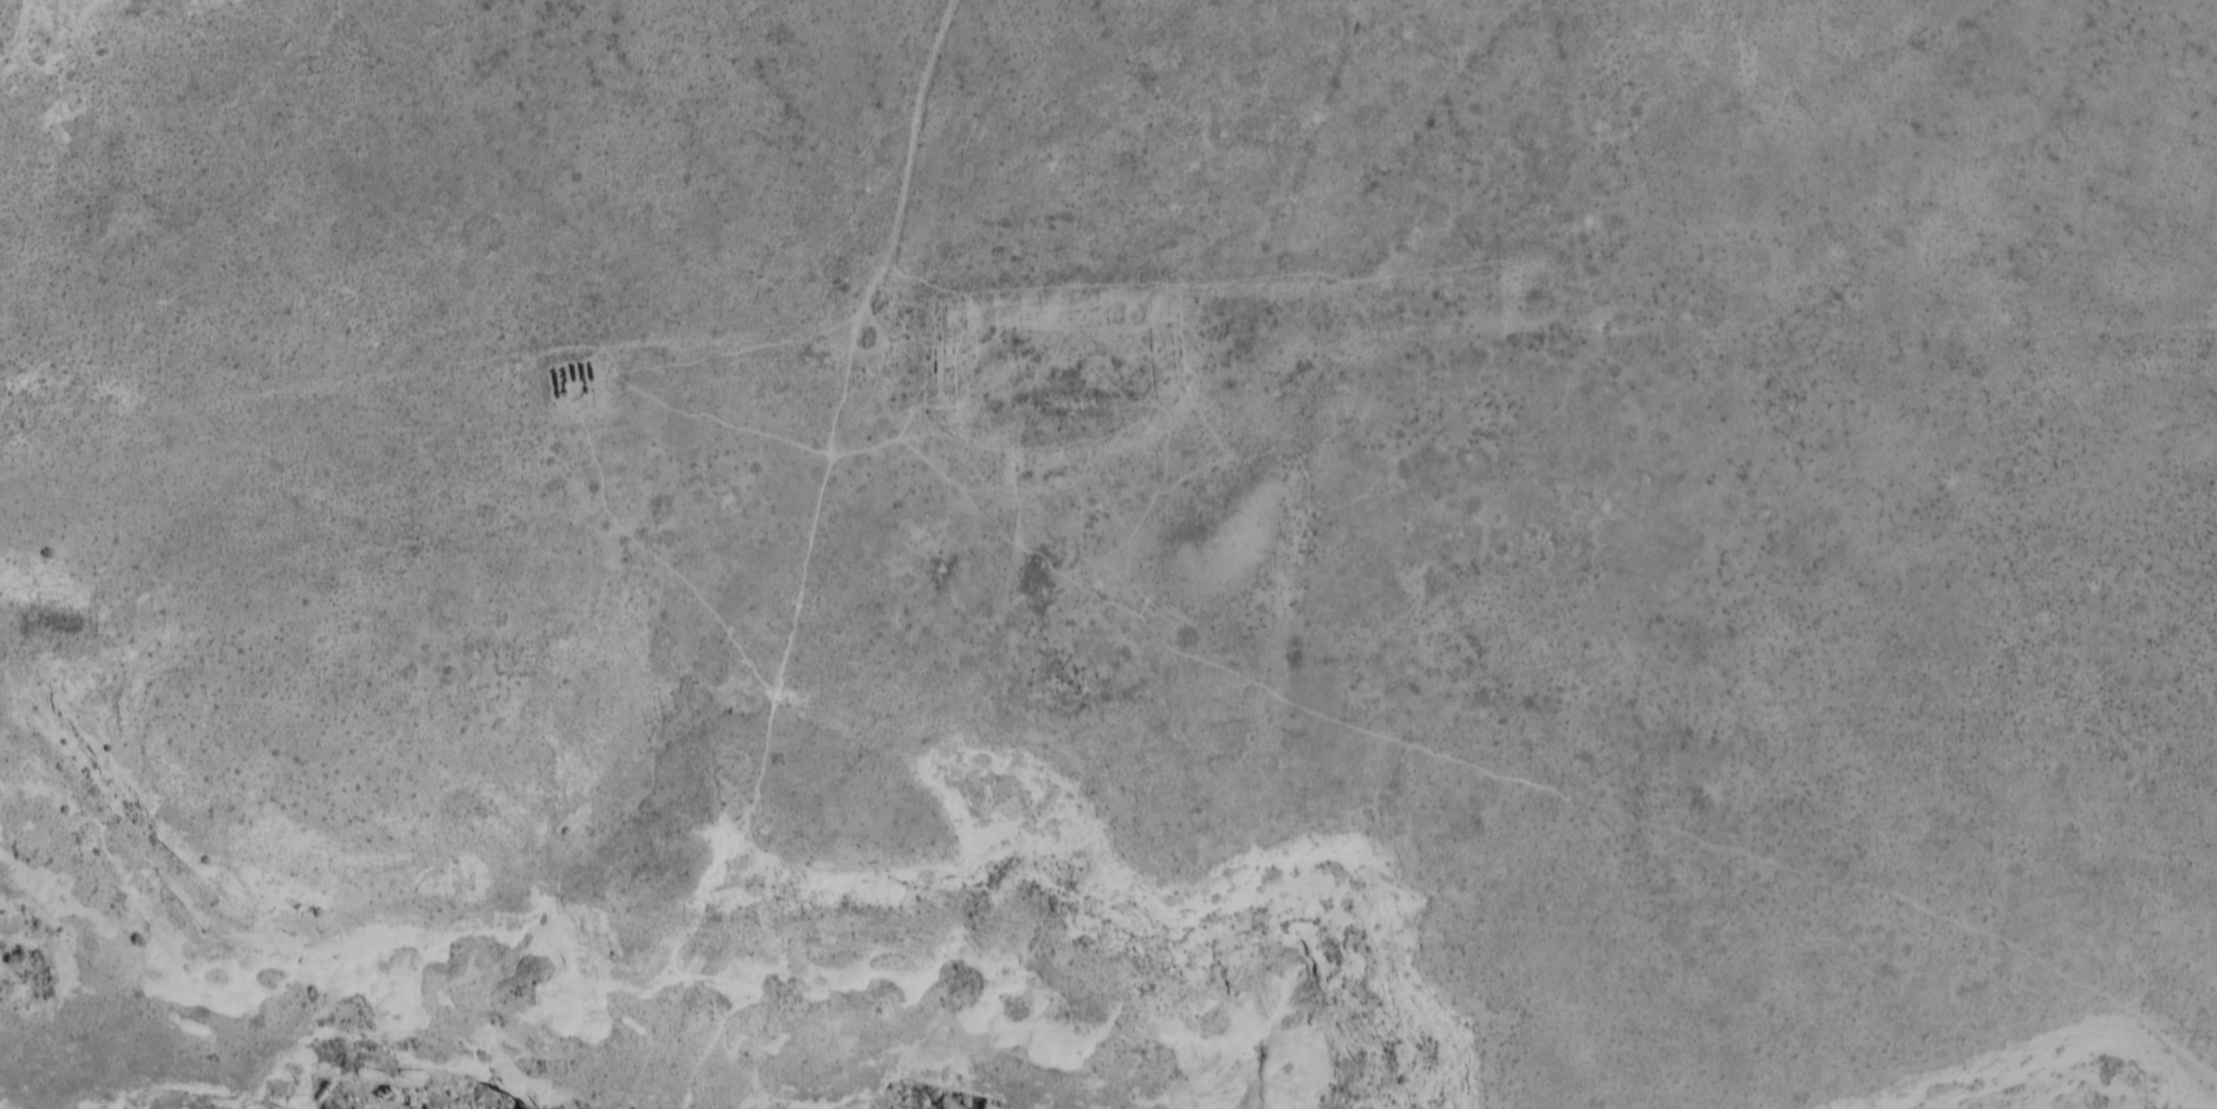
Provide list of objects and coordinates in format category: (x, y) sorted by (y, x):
road: (909, 163)
road: (624, 373)
building: (566, 374)
building: (570, 391)
road: (1438, 415)
road: (1281, 600)
road: (769, 723)
road: (1635, 817)

